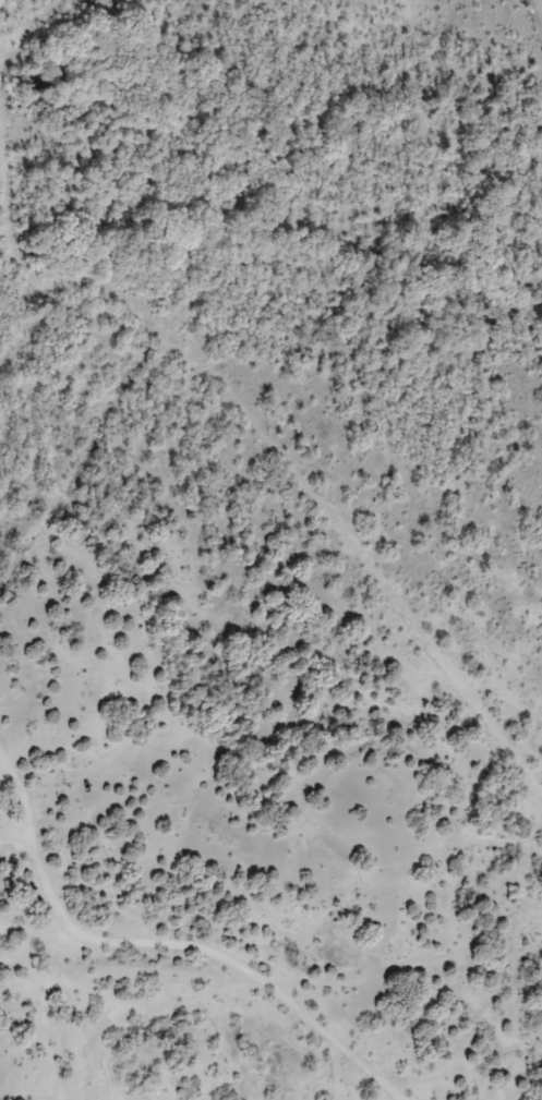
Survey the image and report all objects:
road: (120, 954)

